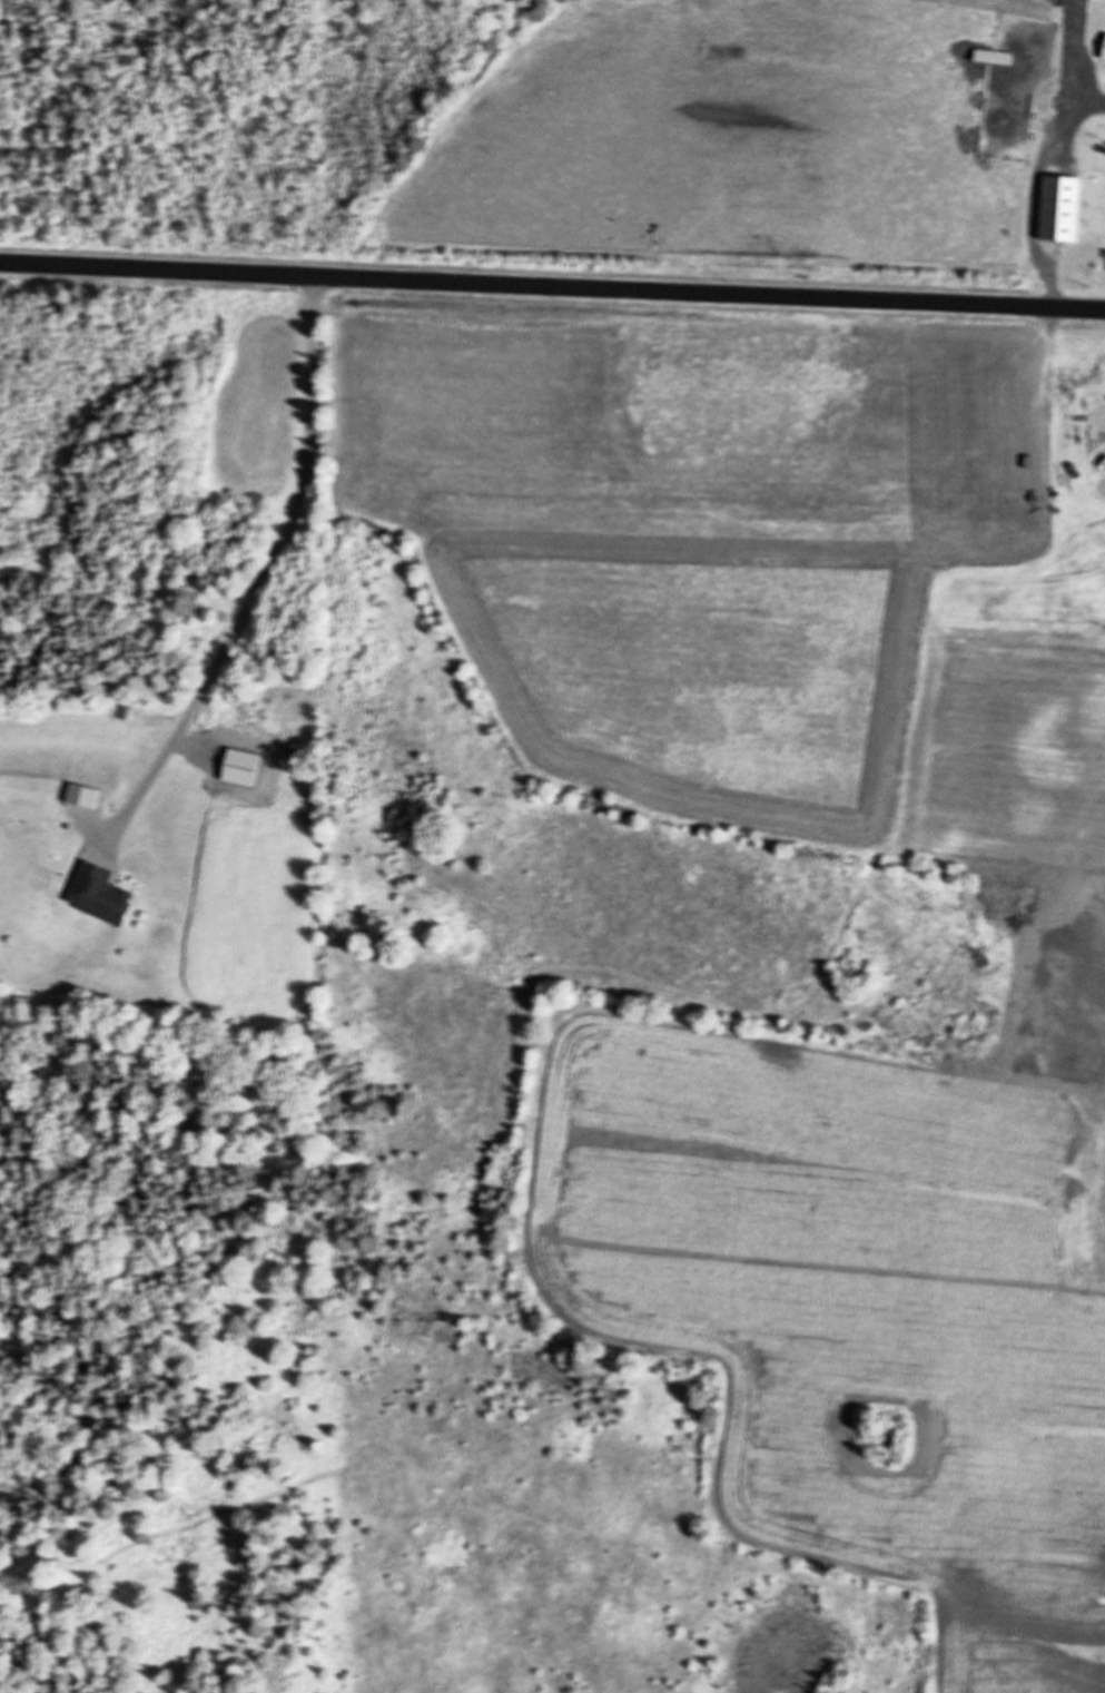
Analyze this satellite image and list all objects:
building: (1102, 50)
building: (989, 56)
building: (1036, 80)
building: (1058, 208)
road: (552, 287)
building: (97, 893)

